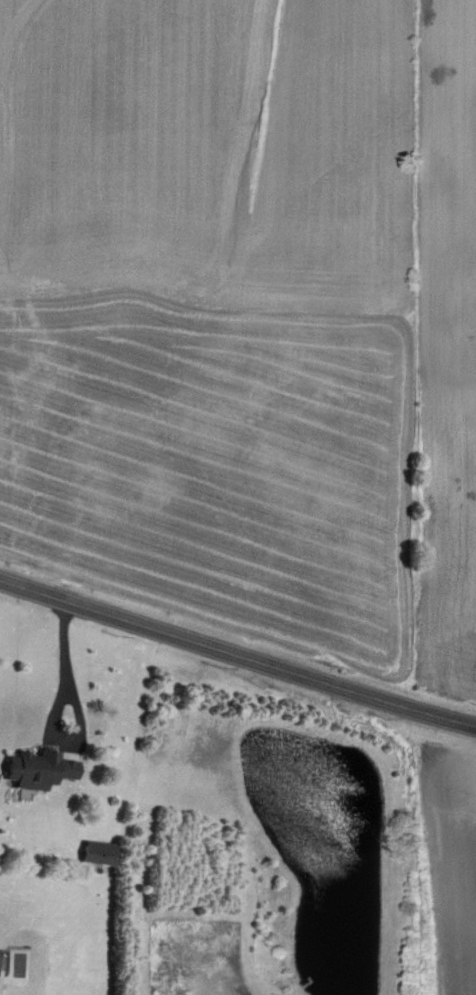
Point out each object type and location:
road: (237, 655)
road: (54, 701)
building: (41, 769)
building: (101, 853)

